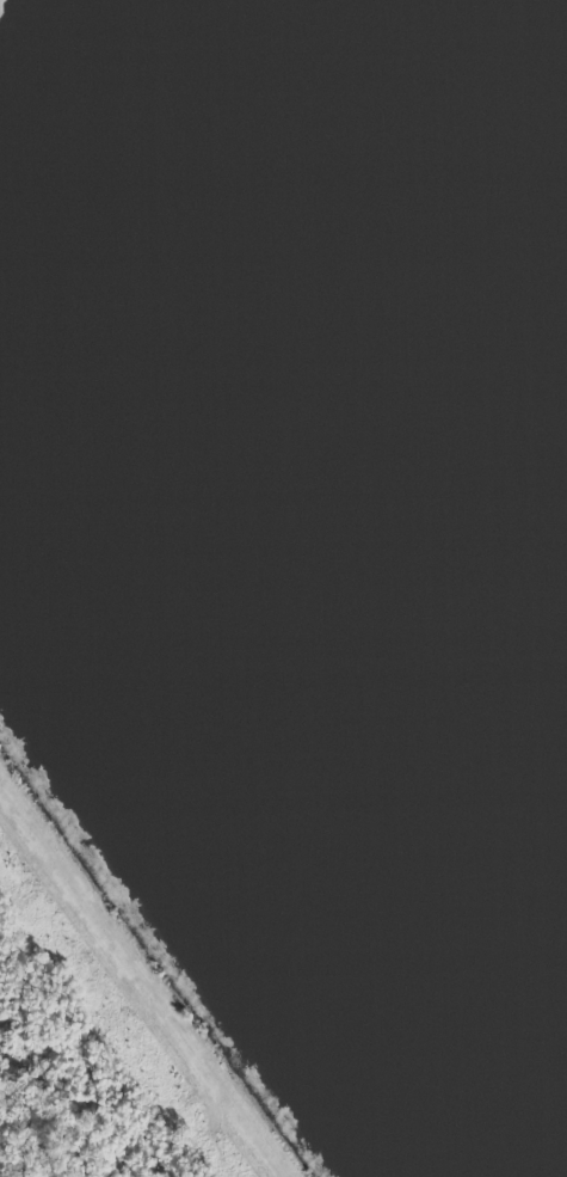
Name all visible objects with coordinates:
road: (147, 968)

